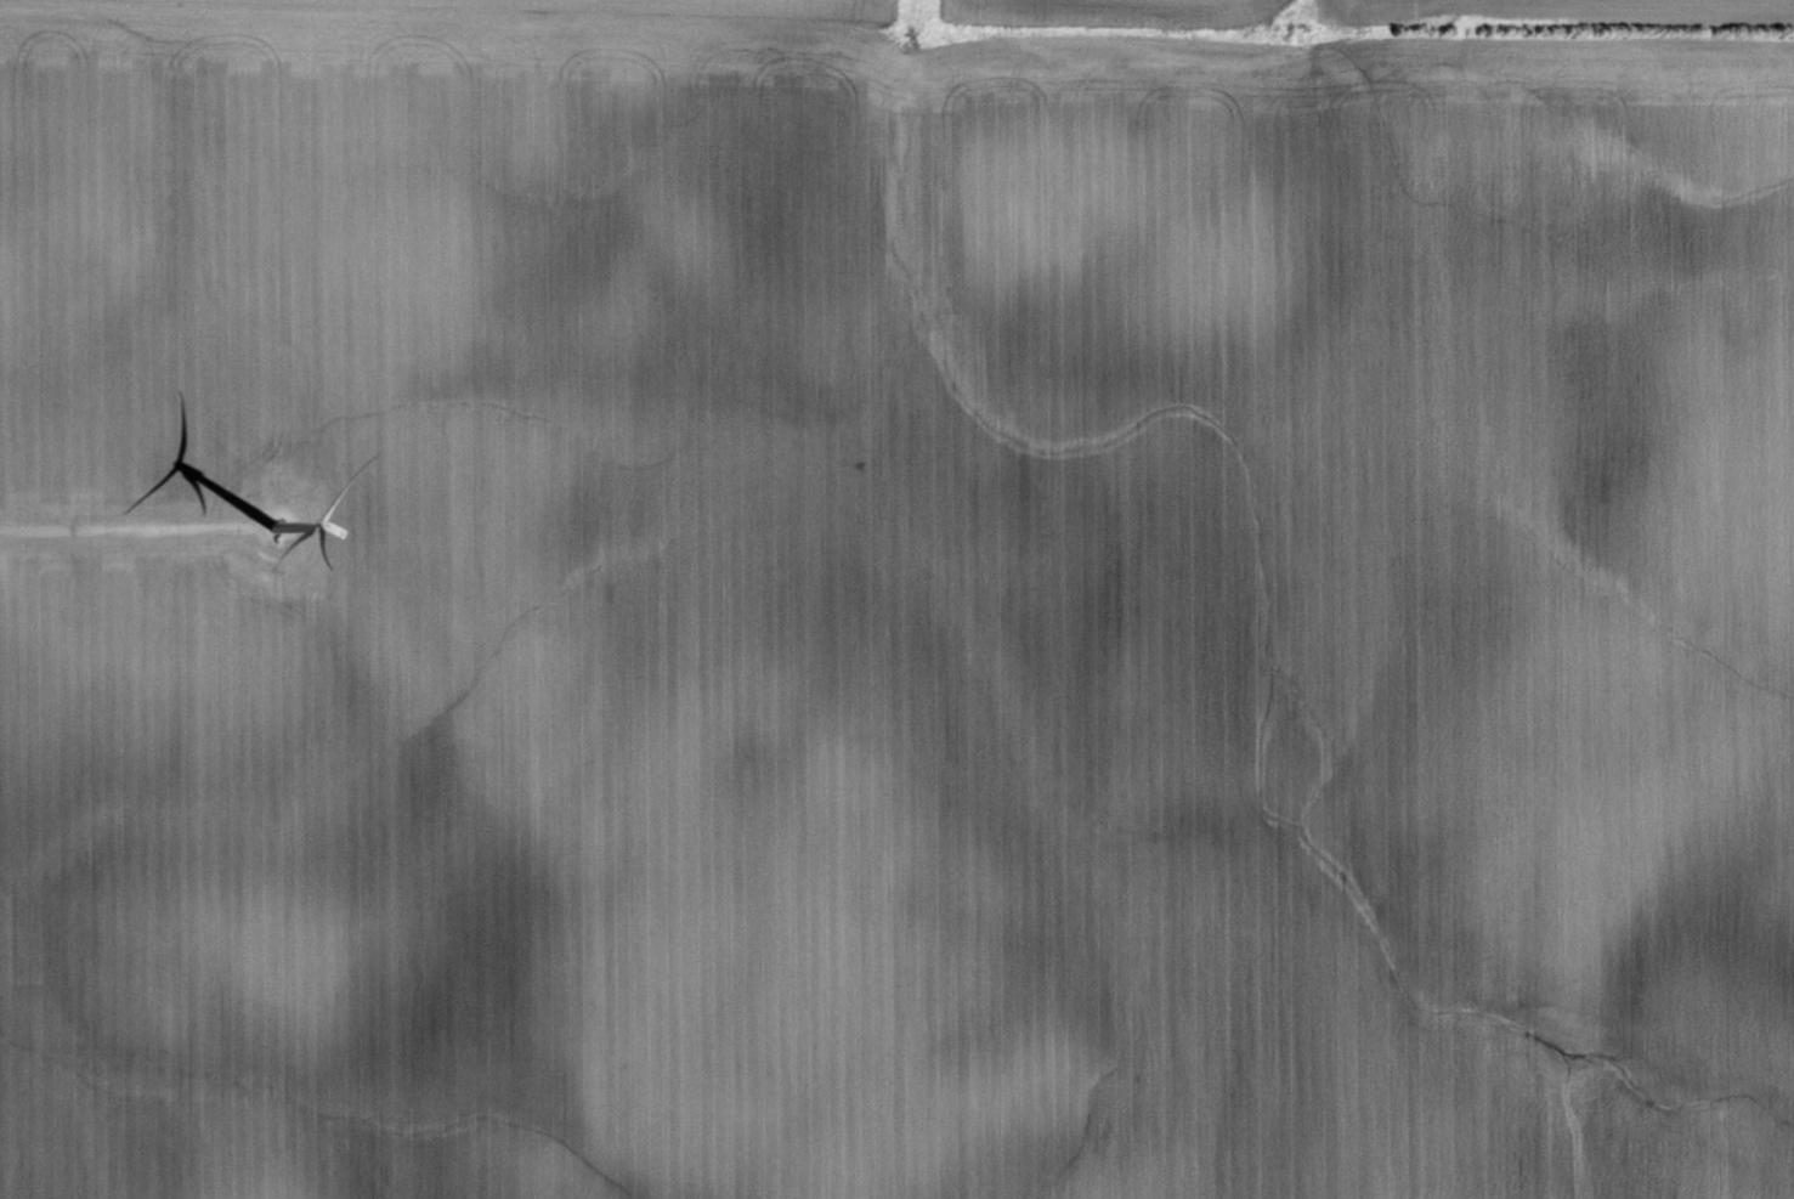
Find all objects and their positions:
wind turbine: (278, 530)

